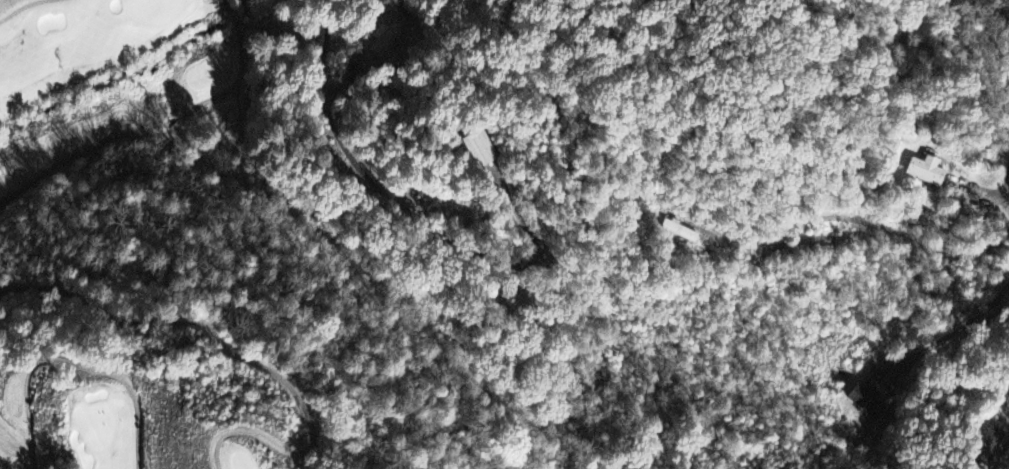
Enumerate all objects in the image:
road: (29, 7)
road: (241, 72)
building: (480, 150)
road: (80, 156)
building: (923, 172)
road: (871, 223)
park: (204, 270)
road: (242, 352)
road: (74, 367)
building: (865, 400)
building: (989, 448)

